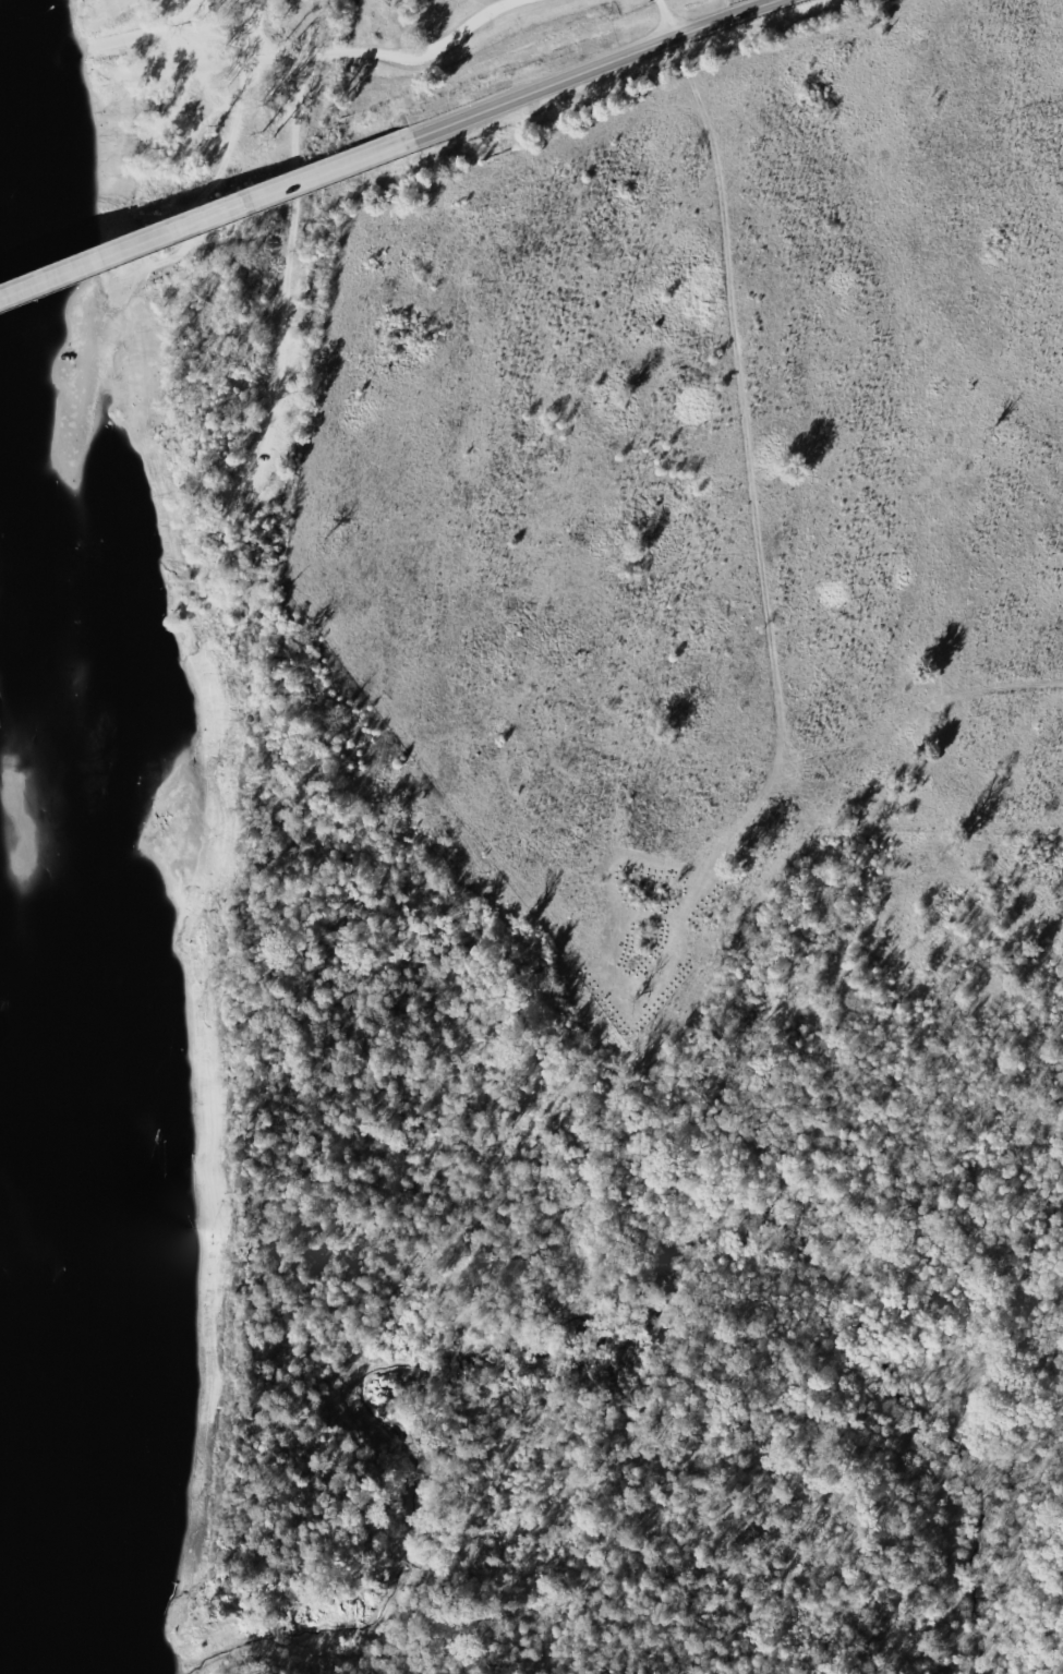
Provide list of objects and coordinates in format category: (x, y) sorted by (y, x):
road: (602, 67)
road: (207, 218)
river: (52, 1049)

